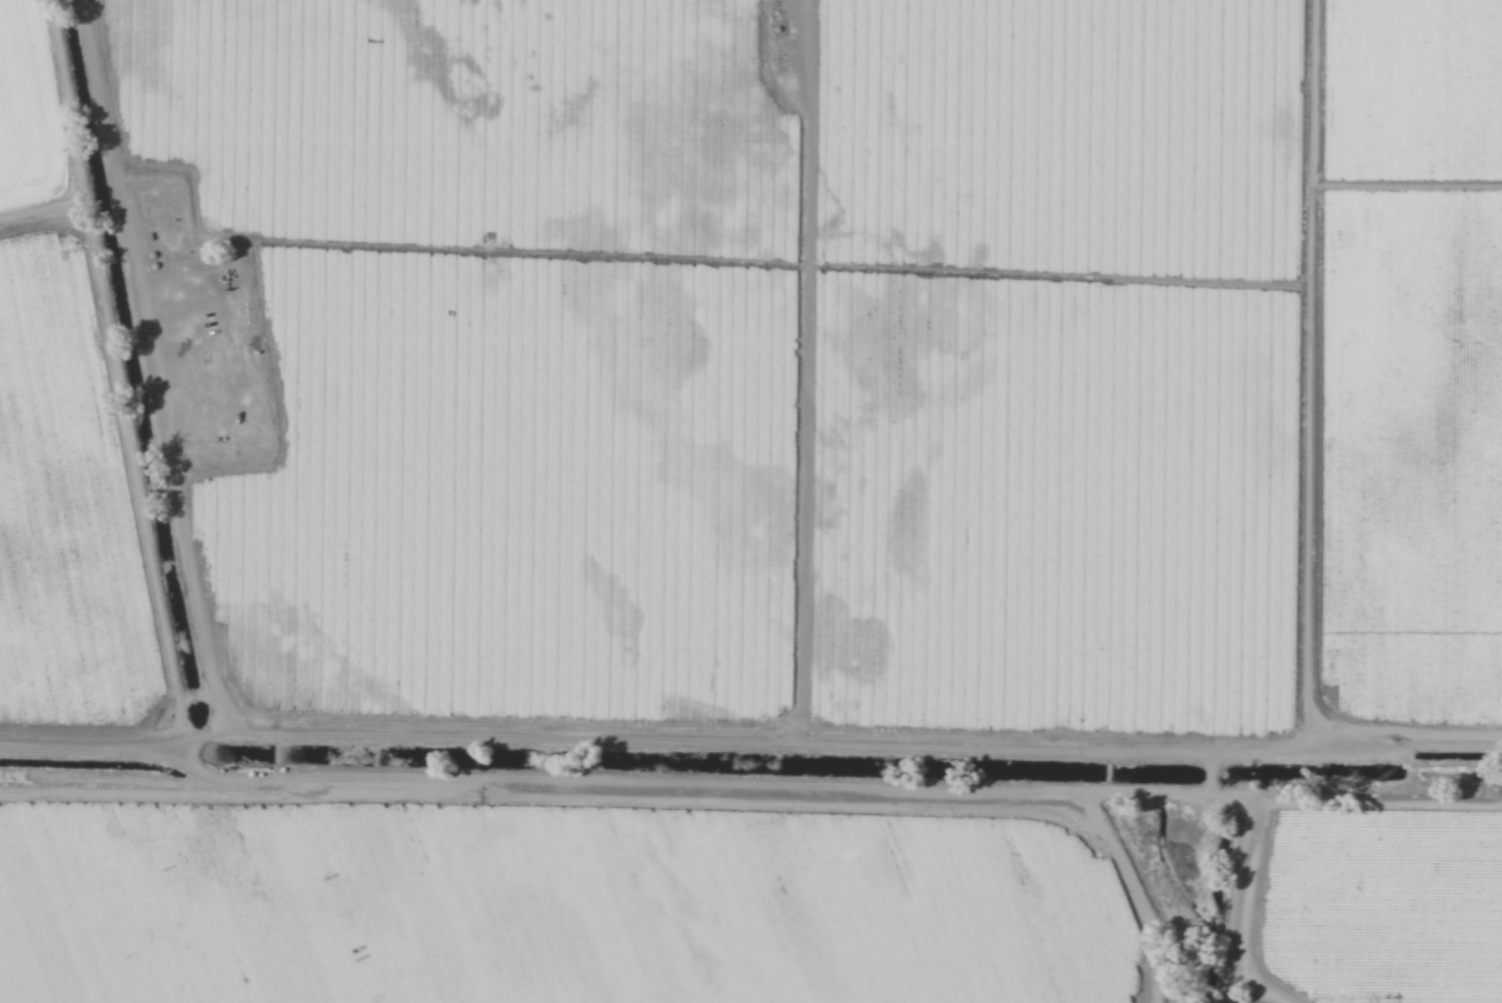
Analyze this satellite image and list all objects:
road: (749, 734)

